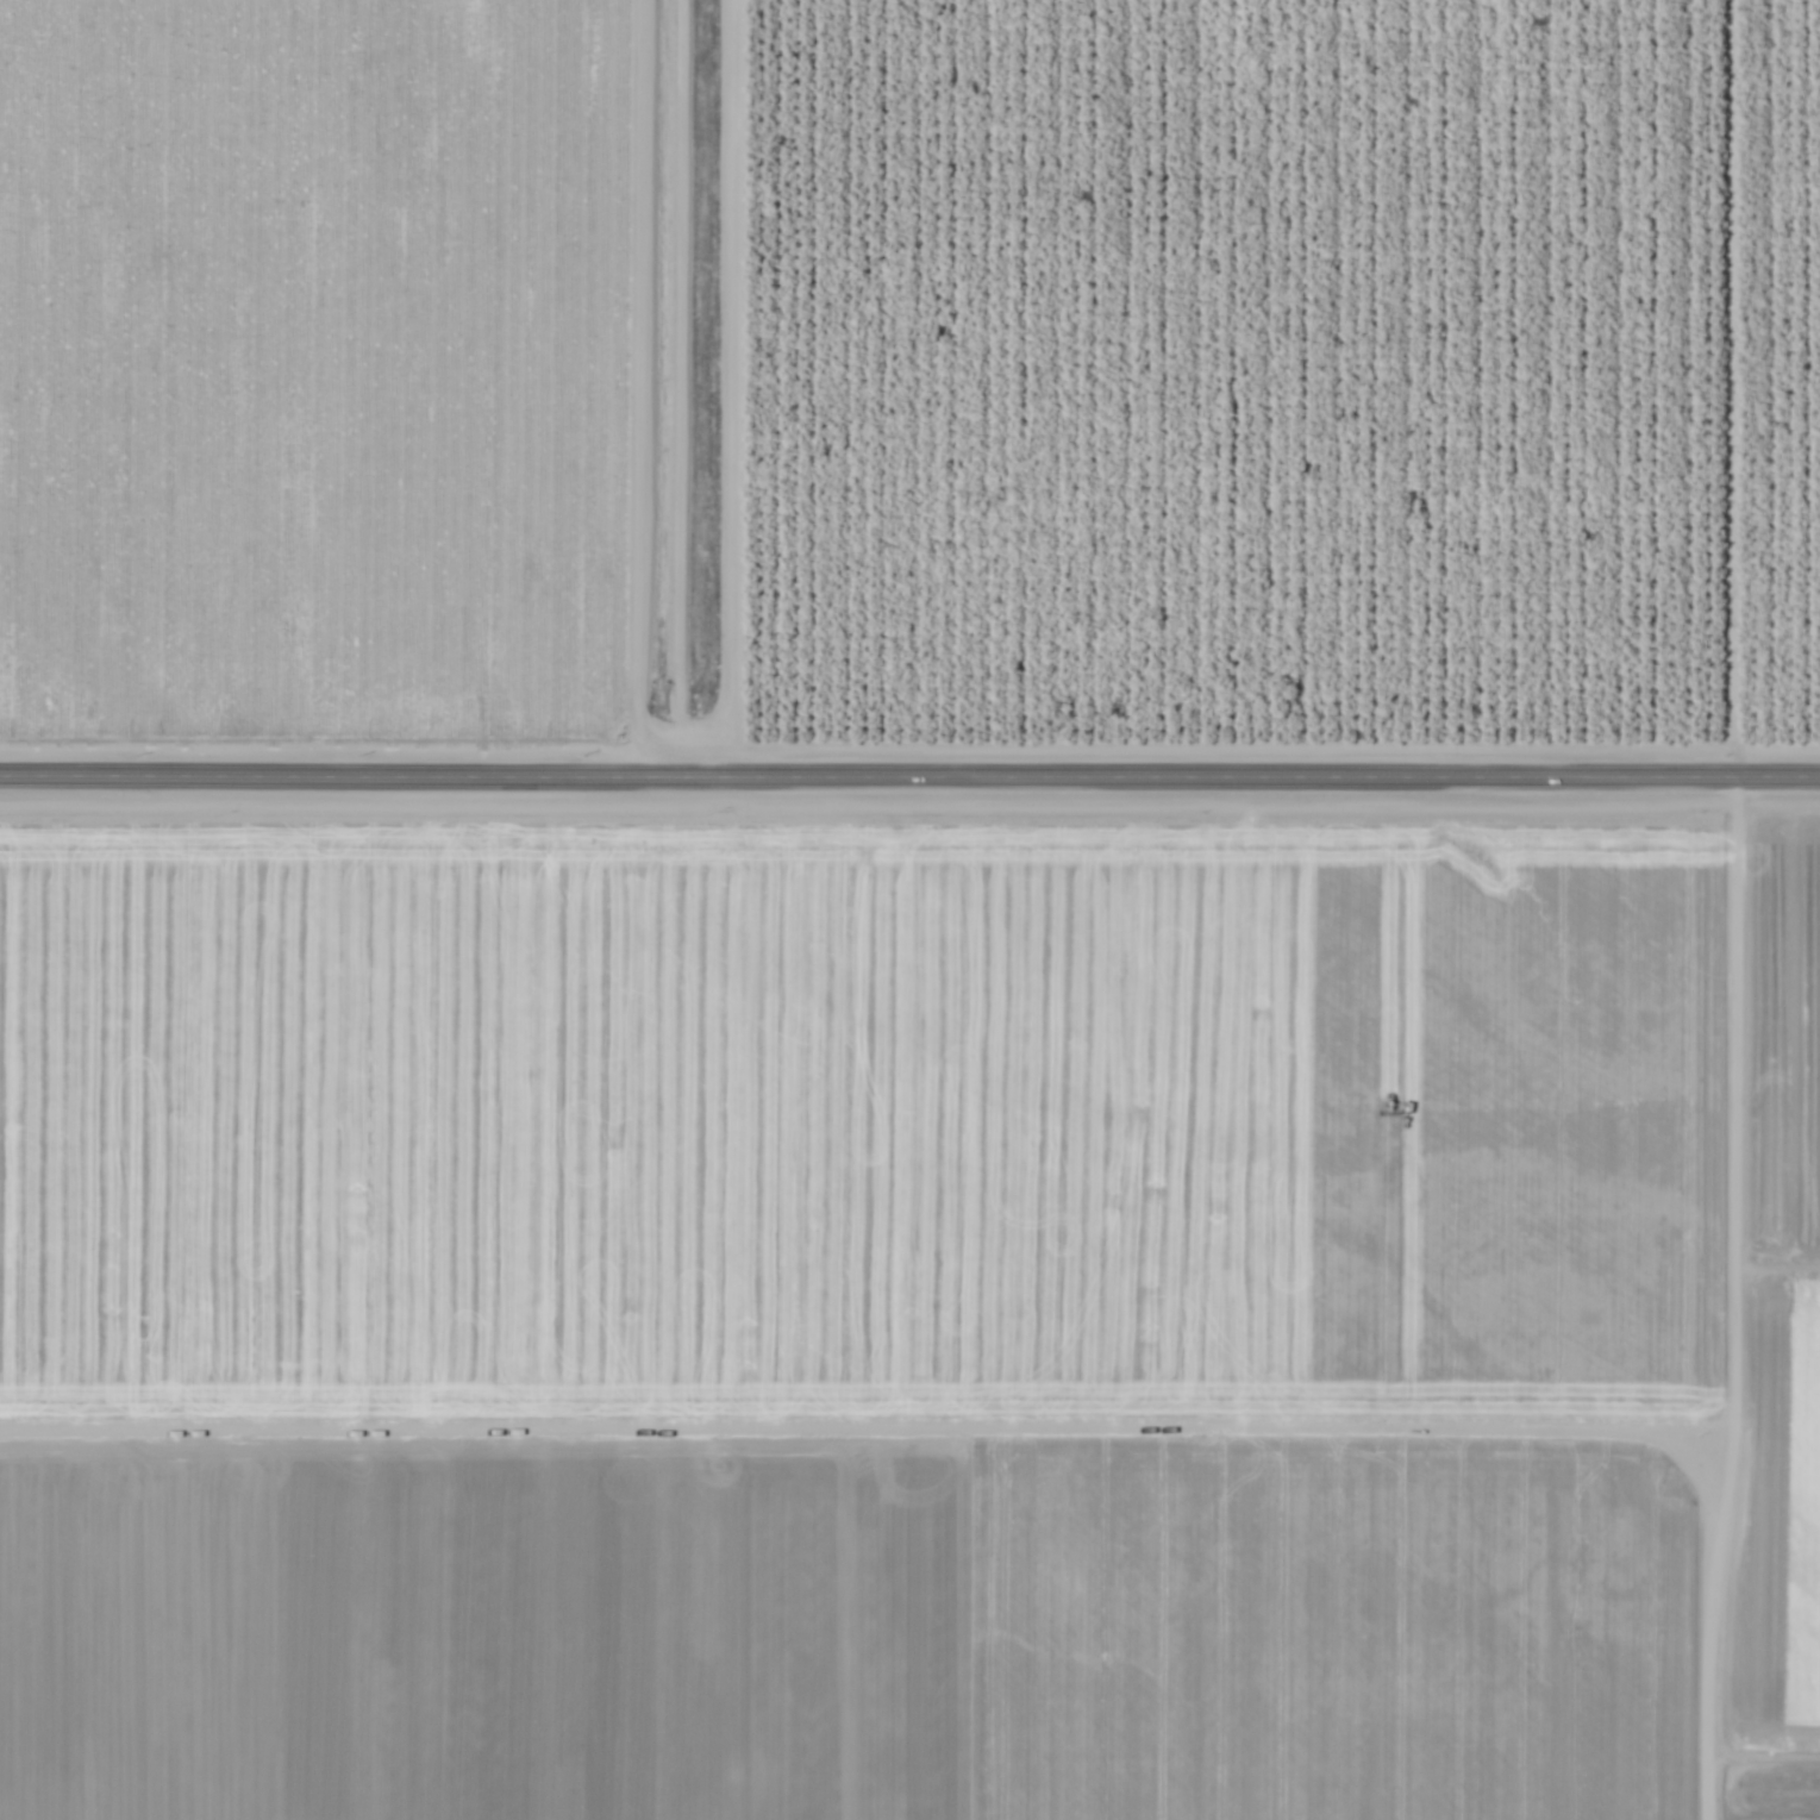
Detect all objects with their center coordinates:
road: (1733, 386)
road: (719, 387)
road: (909, 773)
road: (1776, 1268)
road: (1733, 1296)
crop: (909, 1307)
road: (1764, 1760)

